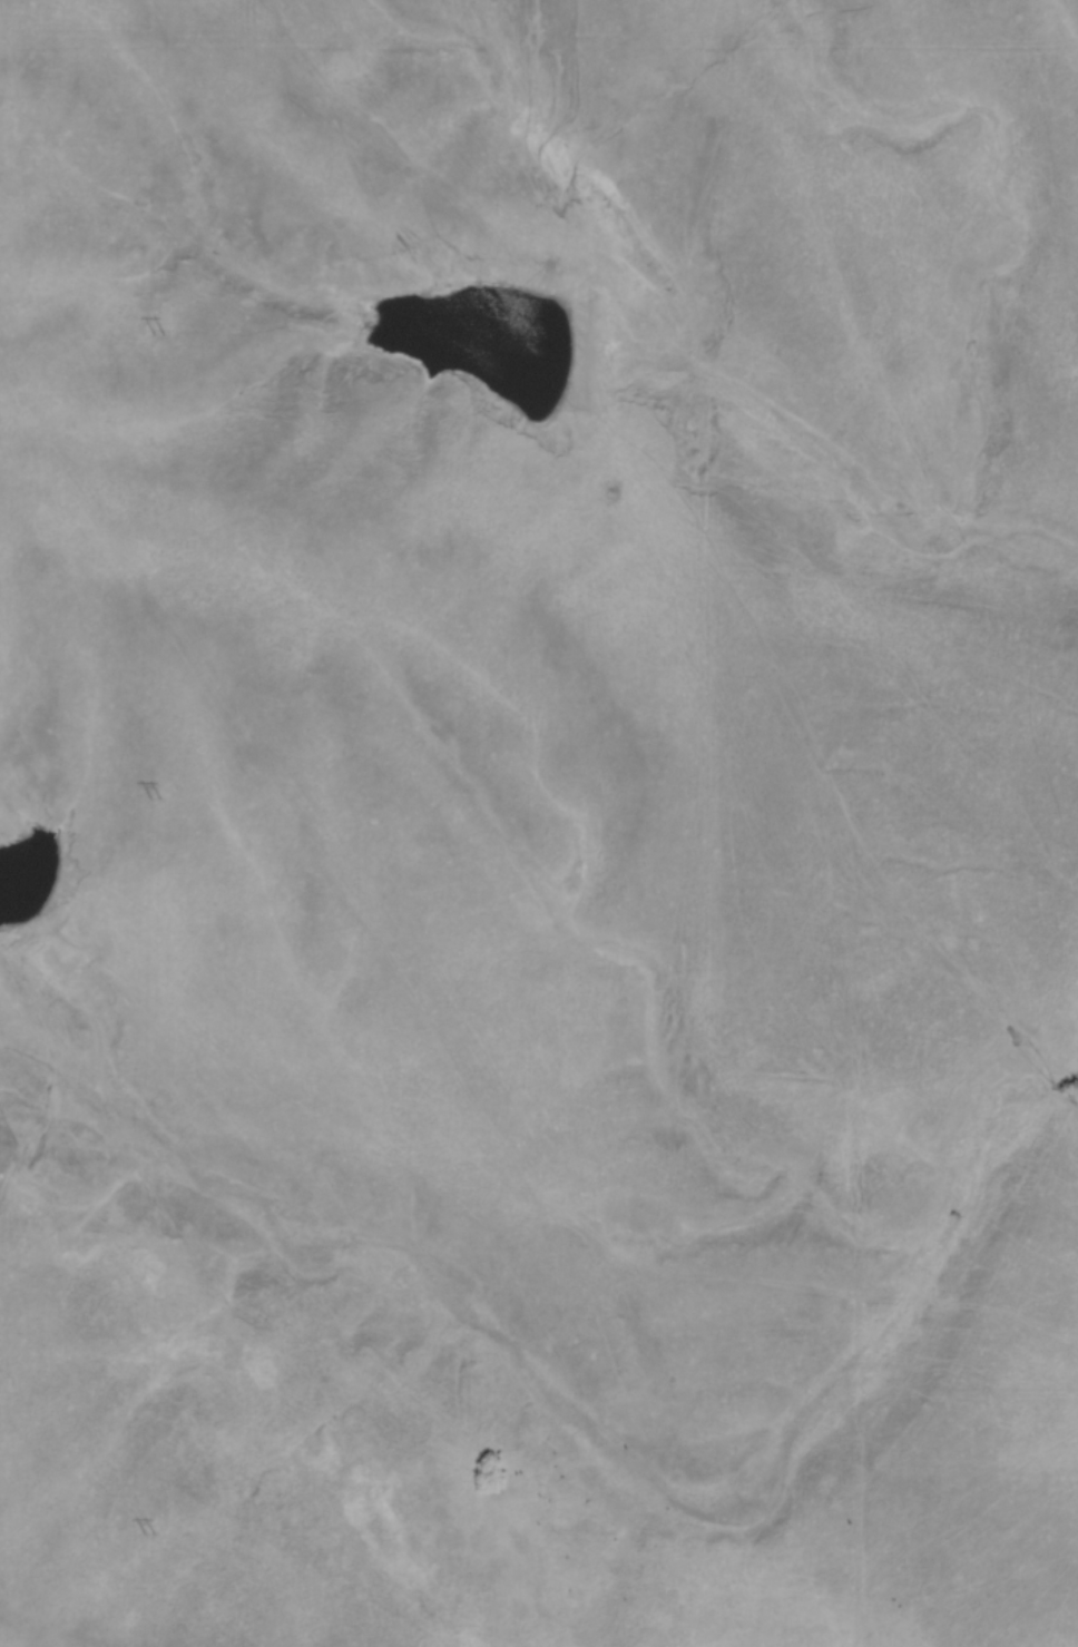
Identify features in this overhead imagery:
power tower: (160, 336)
power tower: (157, 800)
power tower: (151, 1536)

